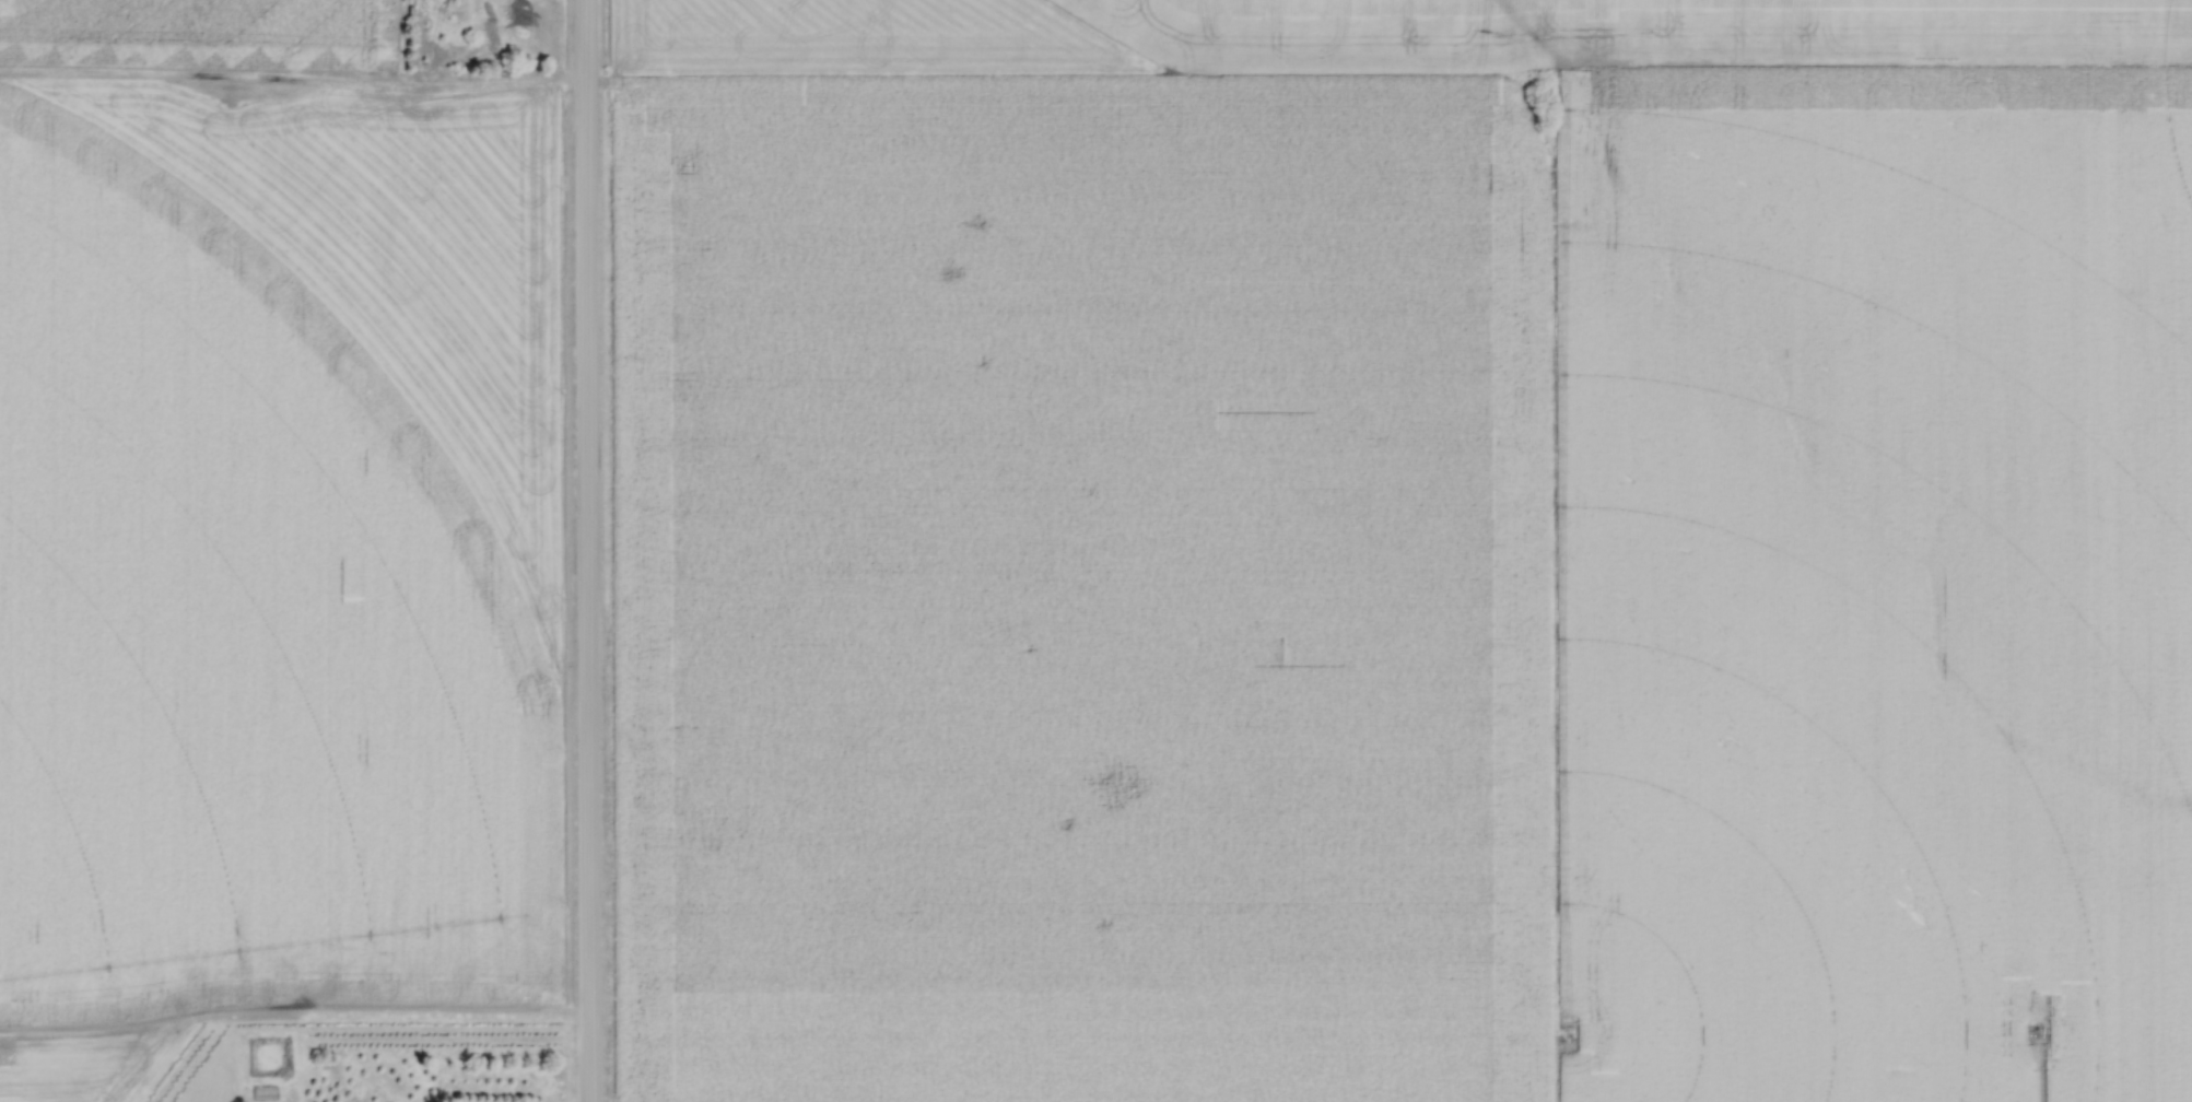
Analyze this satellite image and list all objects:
building: (525, 22)
road: (291, 83)
road: (587, 551)

